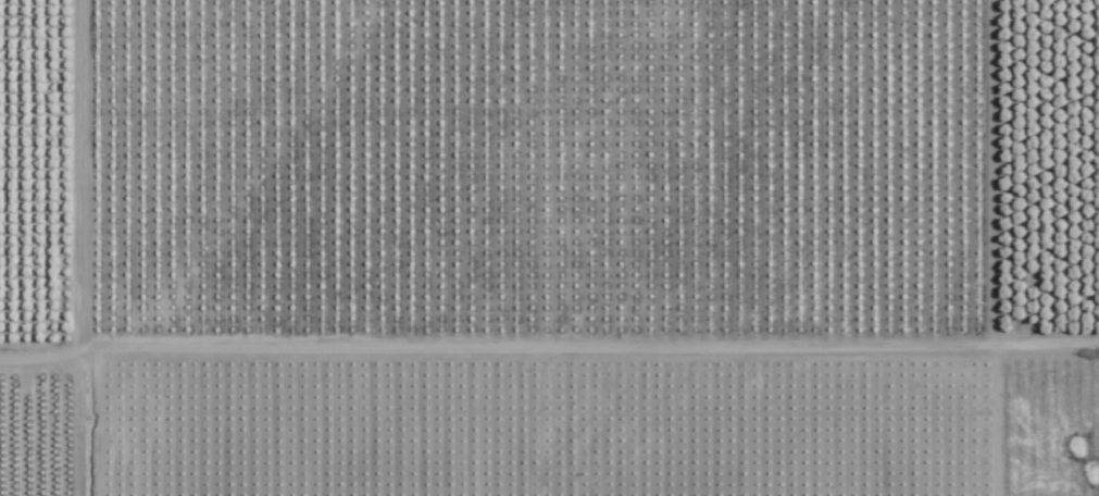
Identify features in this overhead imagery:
road: (88, 247)
crop: (549, 248)
road: (548, 346)

